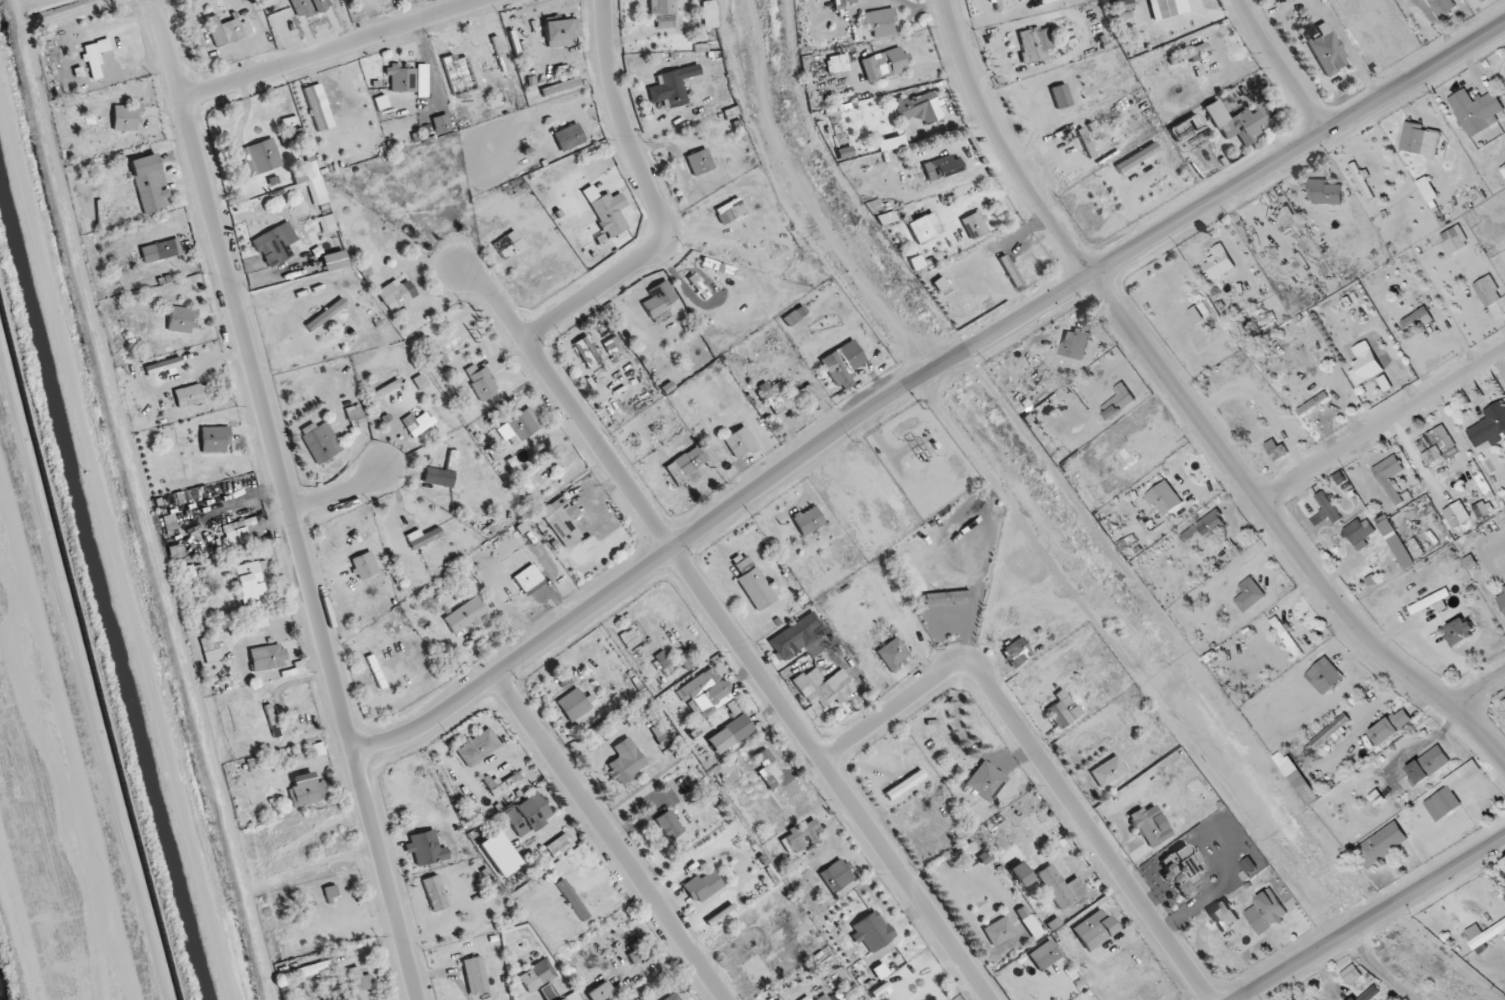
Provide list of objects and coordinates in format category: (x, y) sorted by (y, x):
building: (851, 1)
building: (1000, 4)
building: (1122, 4)
building: (308, 7)
building: (1442, 7)
building: (1169, 8)
building: (663, 14)
building: (710, 17)
building: (880, 22)
building: (233, 30)
building: (561, 31)
building: (1034, 43)
building: (708, 46)
road: (340, 49)
building: (1328, 50)
building: (1189, 54)
building: (90, 57)
building: (838, 62)
building: (886, 63)
road: (1282, 66)
building: (403, 78)
building: (561, 84)
building: (671, 86)
building: (1061, 95)
building: (317, 104)
building: (921, 107)
building: (487, 109)
building: (1472, 109)
building: (421, 112)
building: (1234, 121)
building: (569, 137)
building: (1420, 138)
building: (1126, 142)
building: (890, 143)
building: (261, 156)
building: (1137, 157)
building: (699, 161)
building: (943, 166)
building: (1503, 169)
building: (561, 178)
building: (1362, 180)
building: (151, 182)
building: (1325, 191)
road: (656, 202)
building: (731, 211)
building: (607, 214)
building: (887, 217)
building: (975, 224)
building: (923, 227)
building: (1456, 236)
building: (276, 242)
building: (159, 250)
building: (1220, 262)
building: (1487, 290)
building: (394, 295)
building: (659, 301)
building: (1201, 310)
building: (326, 314)
building: (795, 315)
building: (182, 319)
building: (1417, 320)
building: (386, 330)
road: (1478, 330)
building: (1075, 343)
road: (1463, 347)
building: (616, 349)
building: (587, 352)
road: (967, 353)
road: (1501, 362)
building: (843, 364)
building: (164, 365)
building: (1366, 367)
road: (922, 381)
building: (482, 382)
road: (988, 382)
road: (1407, 387)
building: (385, 389)
road: (1469, 393)
building: (193, 394)
building: (783, 396)
building: (1118, 401)
building: (1314, 402)
road: (1188, 406)
road: (1331, 406)
building: (356, 416)
building: (420, 424)
building: (522, 425)
road: (1382, 426)
building: (1489, 427)
building: (215, 439)
building: (321, 441)
building: (739, 443)
building: (1437, 446)
building: (1276, 449)
road: (1411, 452)
building: (477, 459)
building: (687, 464)
road: (1366, 470)
building: (442, 473)
building: (519, 473)
building: (1389, 476)
road: (339, 496)
building: (1164, 498)
road: (285, 500)
building: (560, 513)
building: (808, 520)
building: (1207, 527)
building: (237, 533)
building: (1359, 534)
building: (581, 543)
building: (1396, 544)
building: (364, 565)
building: (1493, 569)
building: (191, 572)
building: (528, 578)
building: (253, 581)
building: (754, 583)
building: (1249, 594)
building: (947, 597)
building: (1501, 597)
building: (1430, 601)
building: (468, 618)
road: (726, 630)
building: (1460, 630)
building: (1287, 636)
building: (795, 637)
building: (630, 638)
building: (1017, 652)
building: (893, 654)
building: (268, 657)
building: (674, 659)
road: (1197, 662)
building: (376, 671)
building: (1324, 675)
building: (828, 687)
road: (81, 688)
road: (1480, 691)
building: (705, 692)
building: (1504, 702)
building: (573, 704)
building: (1064, 709)
building: (1391, 726)
building: (1330, 731)
building: (730, 734)
building: (478, 746)
building: (1294, 754)
road: (1040, 760)
building: (626, 762)
building: (1428, 764)
building: (1108, 771)
building: (986, 780)
building: (502, 782)
building: (905, 784)
building: (766, 787)
building: (307, 790)
building: (529, 814)
building: (669, 824)
building: (1149, 826)
building: (801, 836)
road: (609, 838)
building: (559, 845)
building: (1381, 845)
building: (425, 848)
building: (500, 853)
building: (1183, 870)
building: (1021, 873)
building: (837, 875)
building: (703, 885)
building: (1055, 886)
building: (331, 892)
building: (435, 892)
building: (573, 899)
building: (1265, 912)
building: (1224, 915)
building: (1029, 921)
road: (1375, 921)
building: (1094, 929)
building: (873, 930)
building: (999, 931)
building: (1488, 935)
building: (317, 937)
building: (1045, 955)
building: (314, 969)
road: (1378, 971)
building: (538, 975)
building: (360, 983)
building: (1359, 983)
building: (602, 992)
building: (673, 996)
building: (823, 997)
building: (560, 999)
building: (641, 999)
building: (1307, 999)

